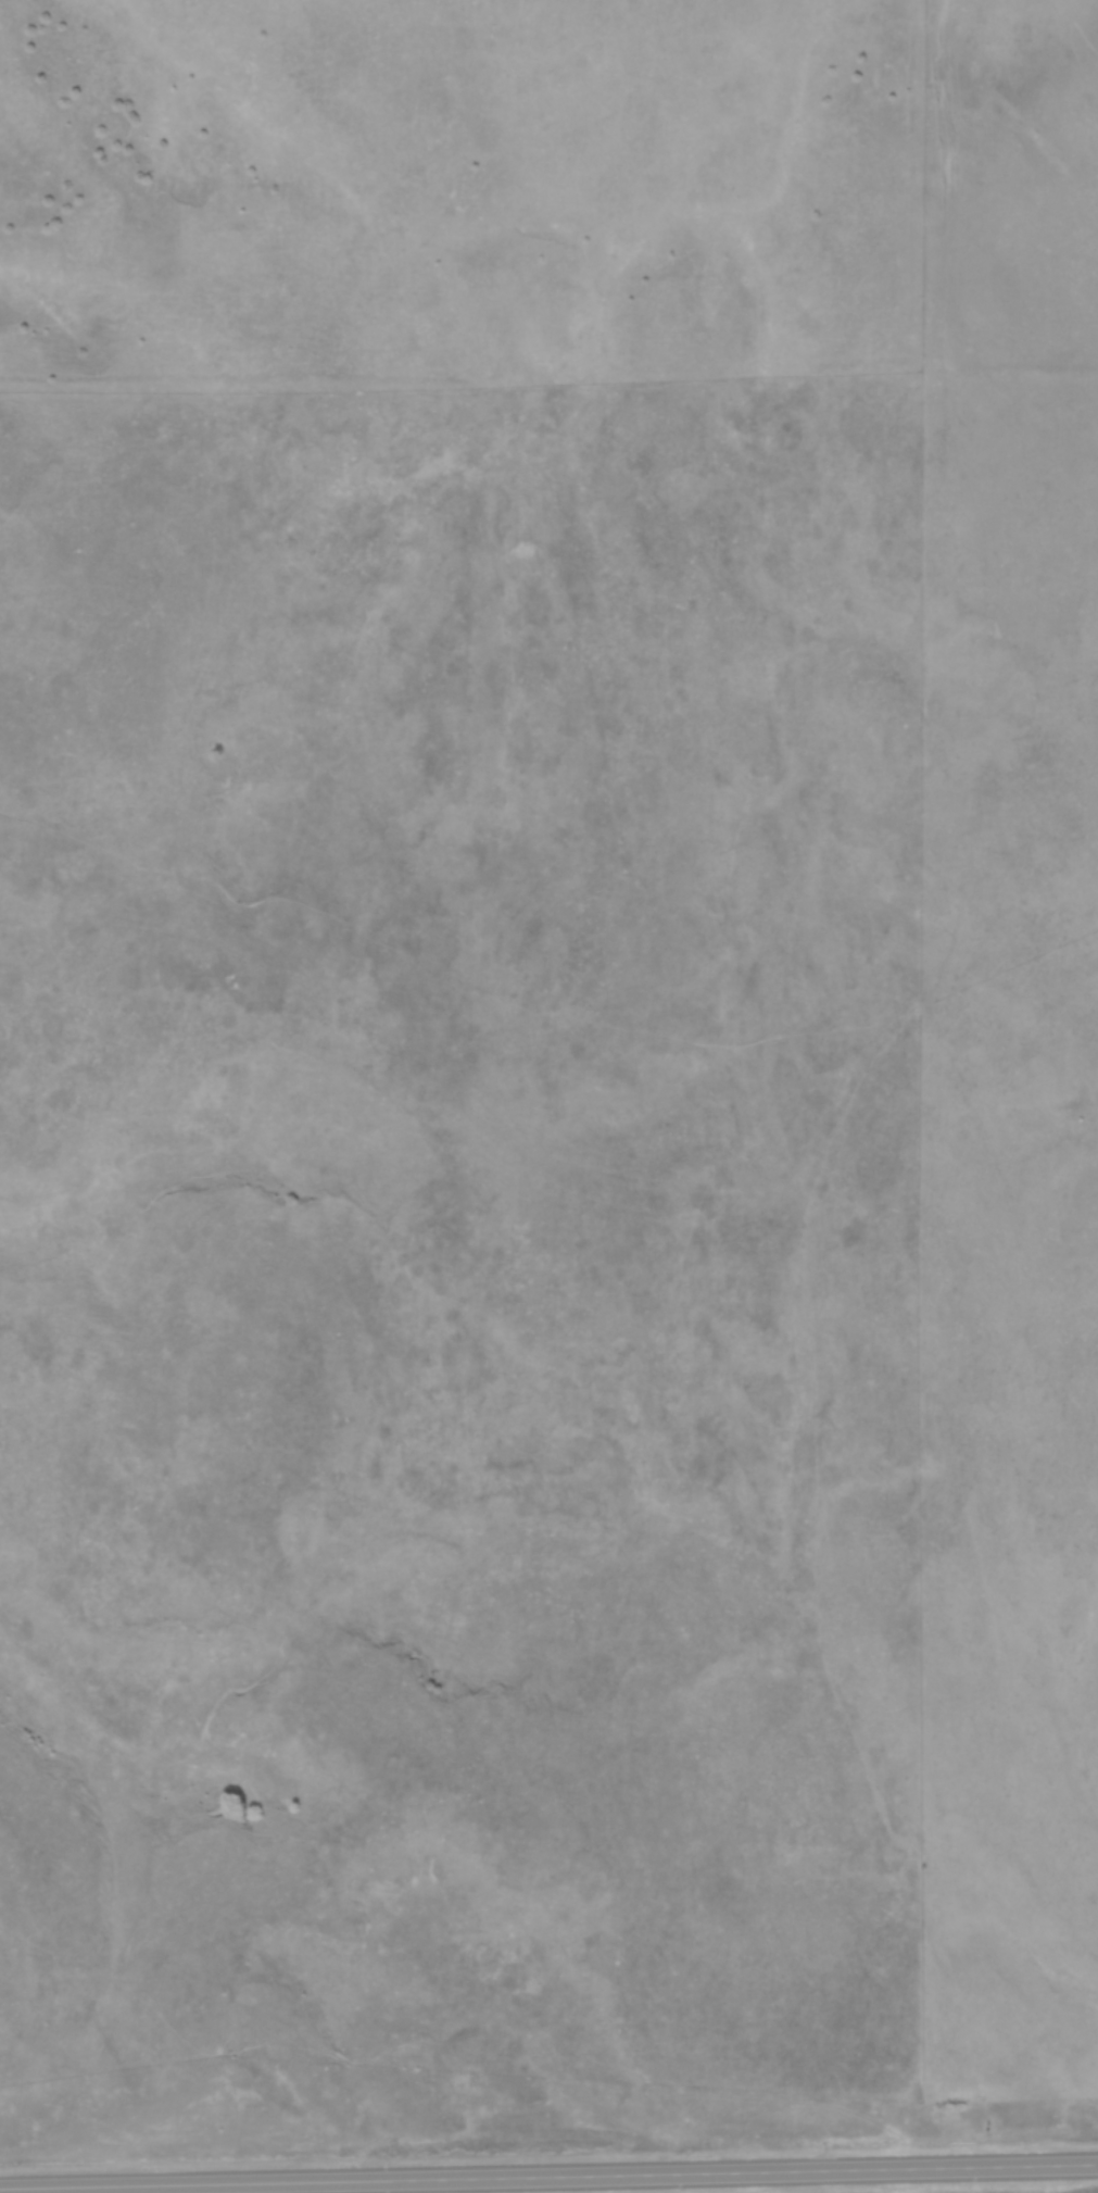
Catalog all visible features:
road: (548, 2177)

